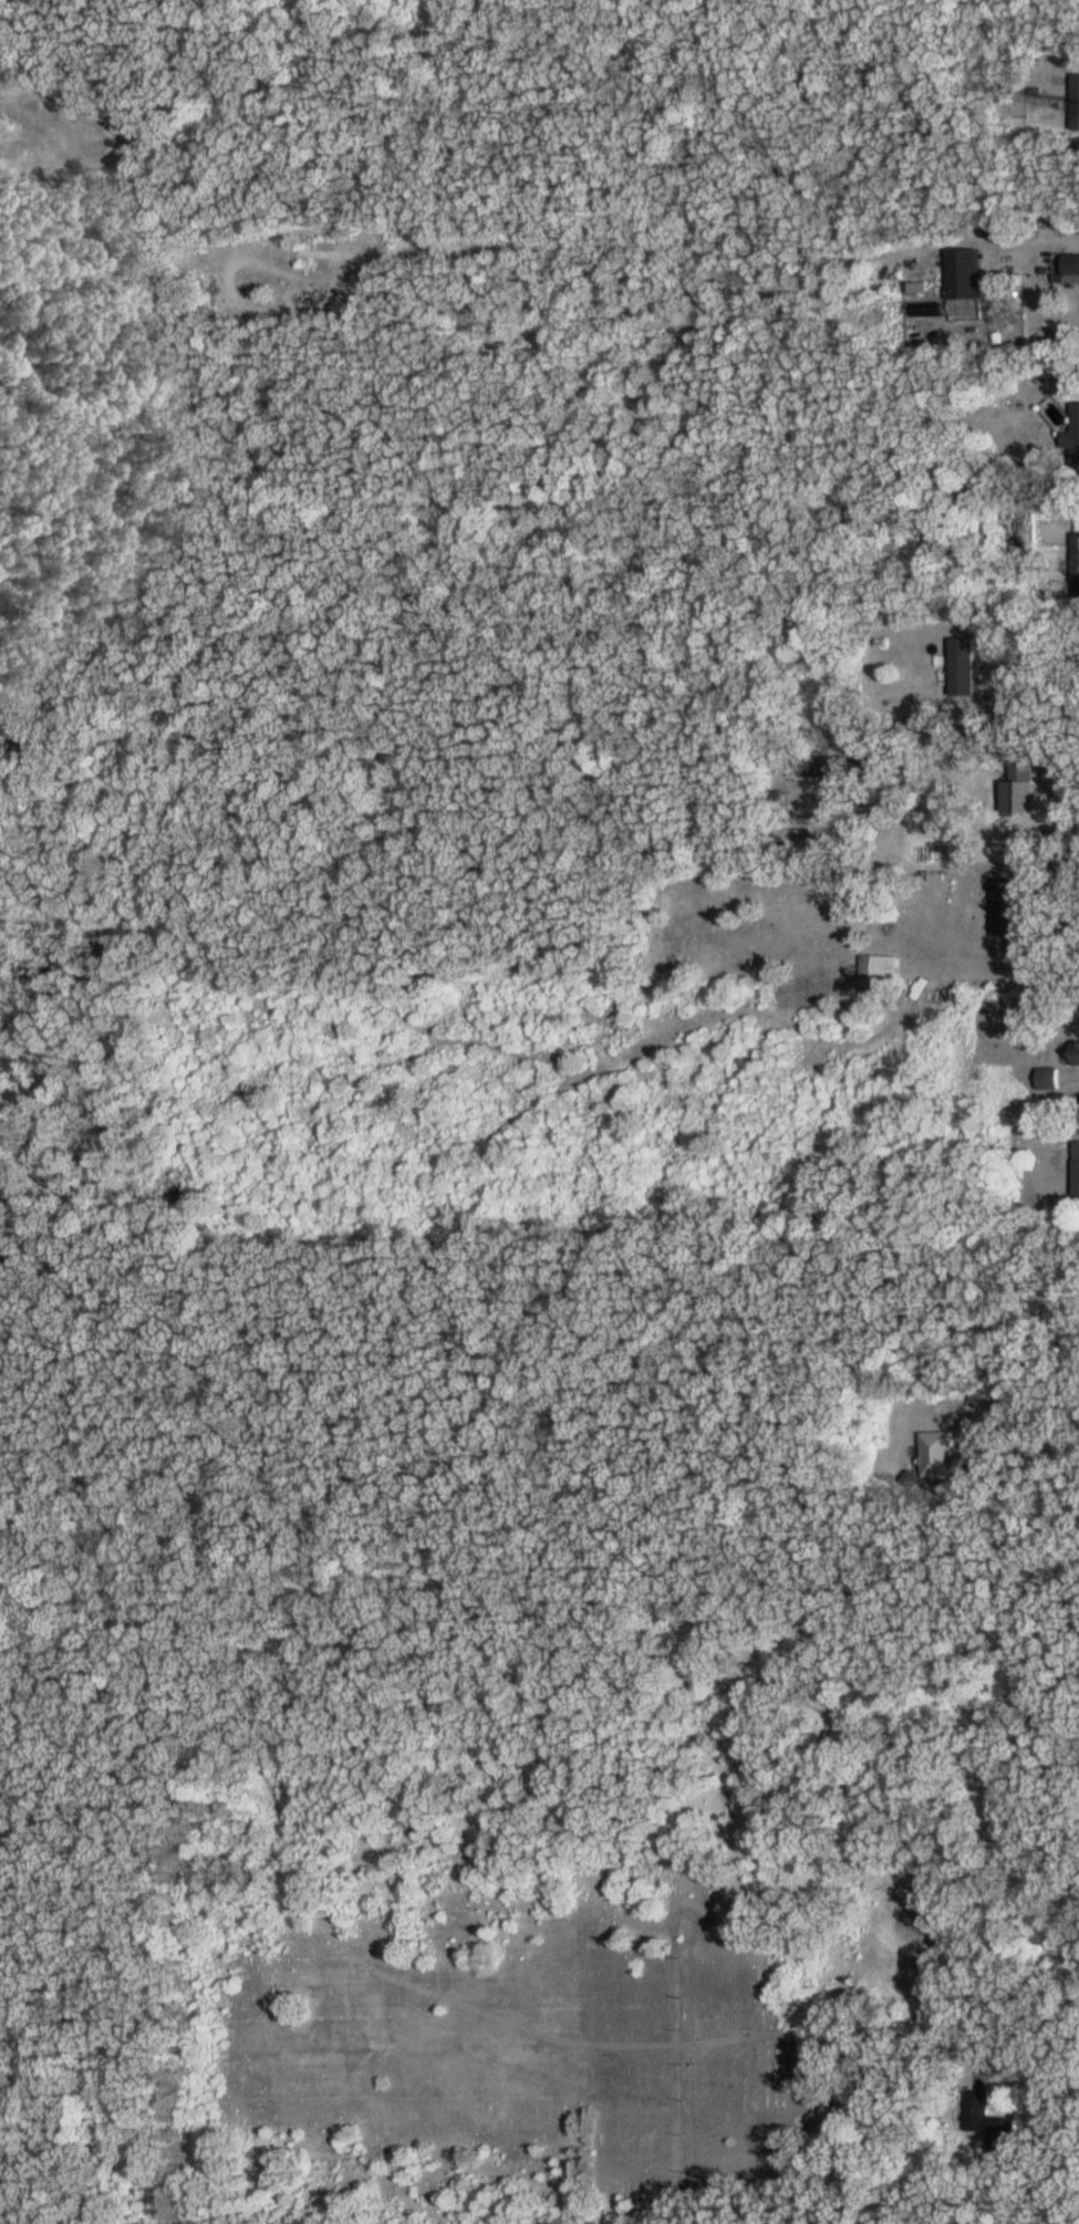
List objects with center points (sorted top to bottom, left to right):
building: (1077, 102)
building: (1072, 268)
building: (967, 273)
building: (1073, 435)
building: (937, 542)
building: (1077, 565)
road: (1036, 655)
building: (964, 666)
building: (830, 766)
road: (1062, 769)
building: (1020, 788)
building: (1006, 906)
road: (1056, 925)
building: (880, 967)
building: (1076, 1053)
road: (1071, 1072)
building: (1049, 1079)
building: (1077, 1168)
road: (992, 1435)
building: (943, 1457)
road: (1036, 2071)
building: (892, 2075)
building: (994, 2123)

